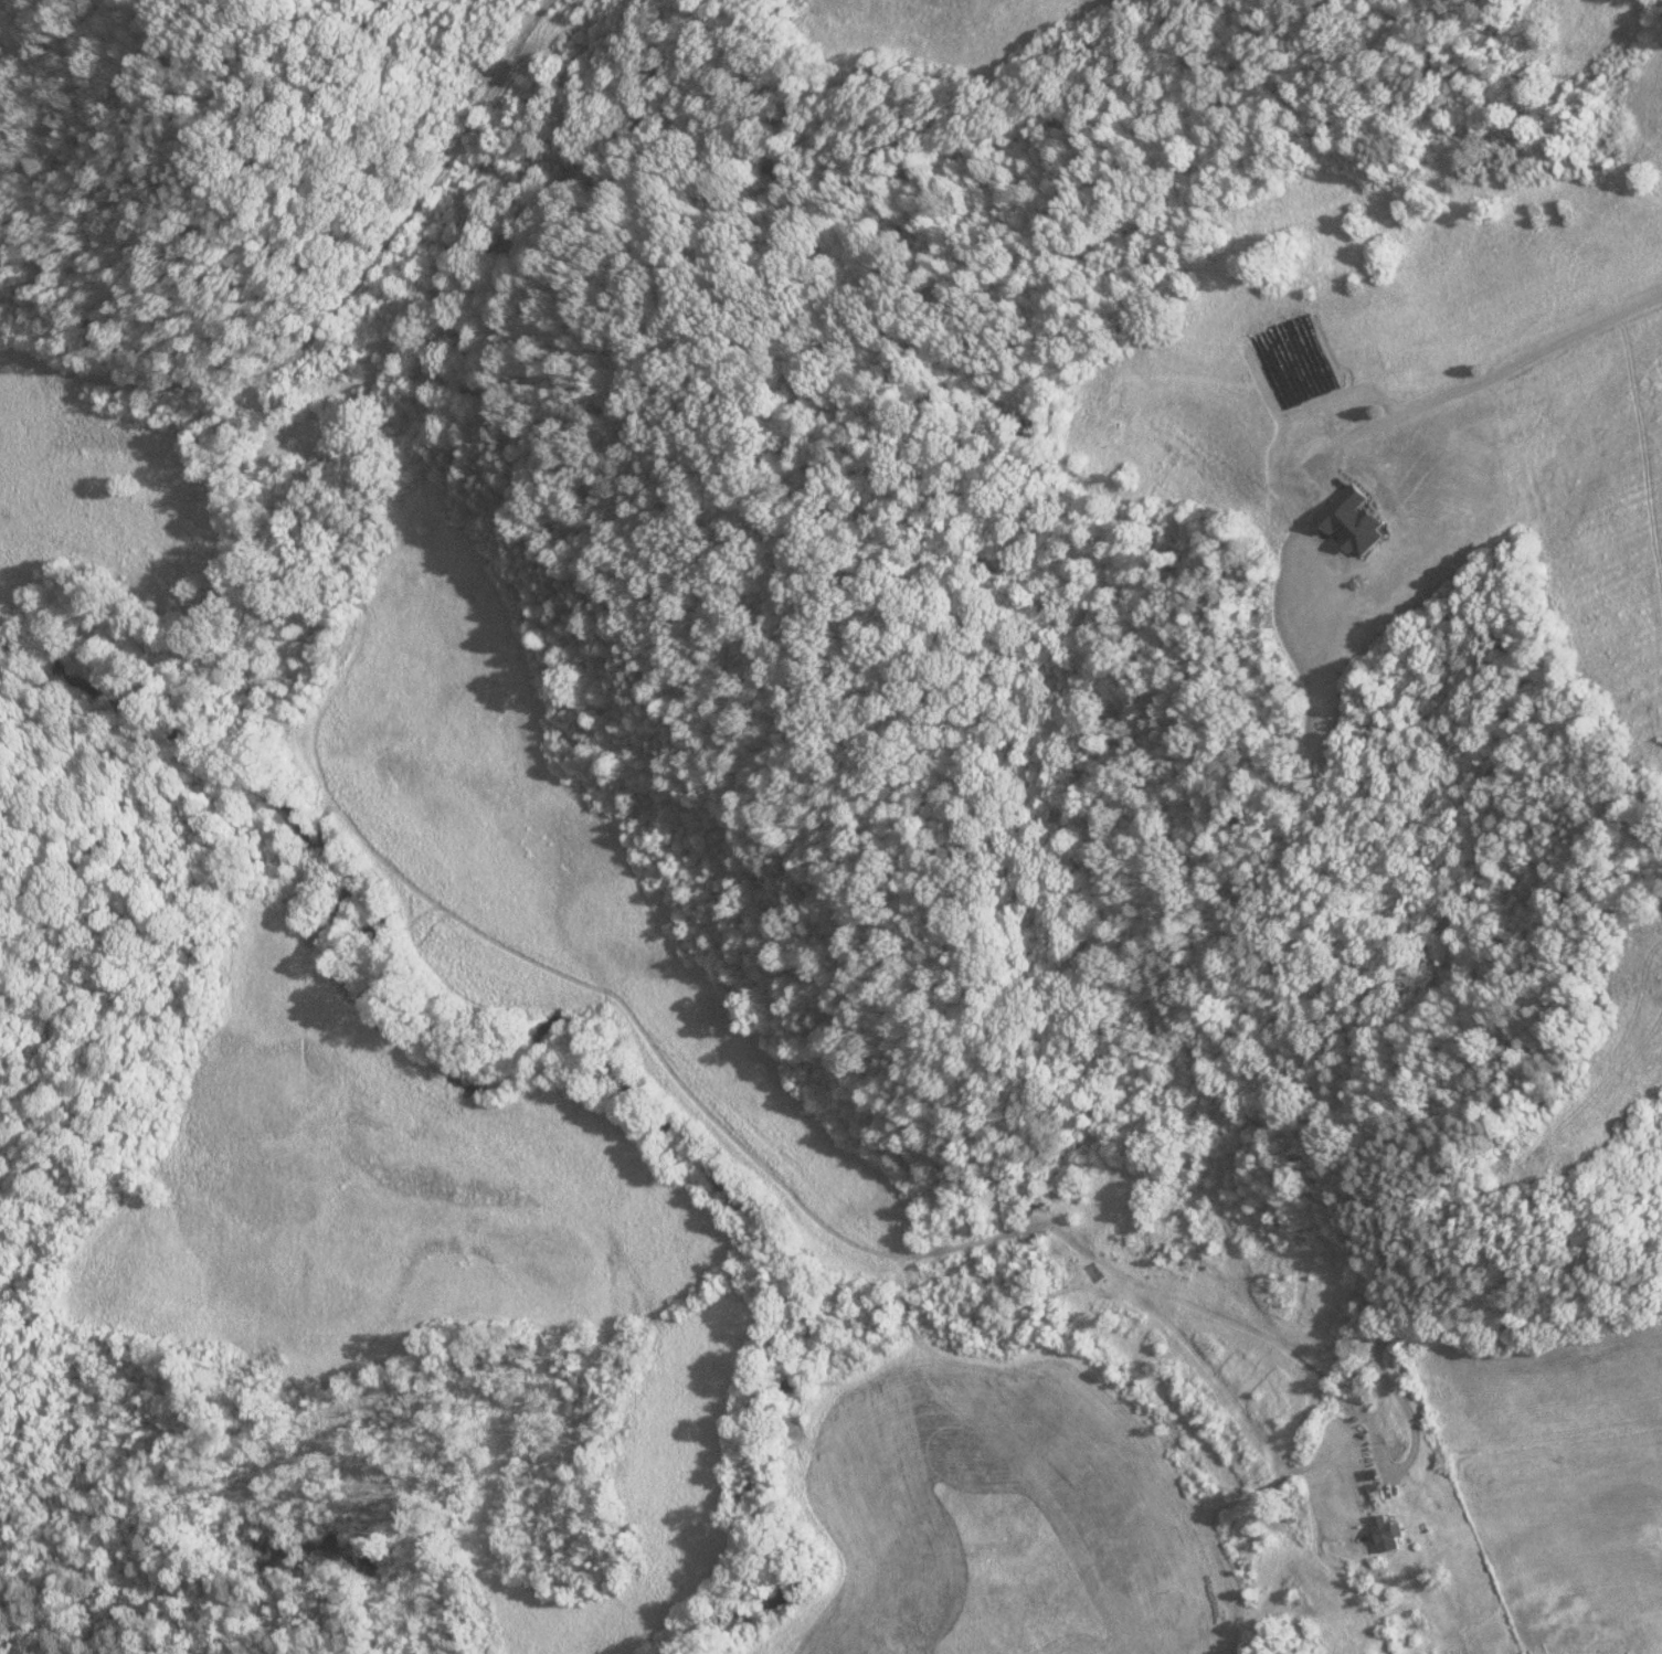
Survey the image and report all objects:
building: (1157, 1258)
building: (1382, 1534)

